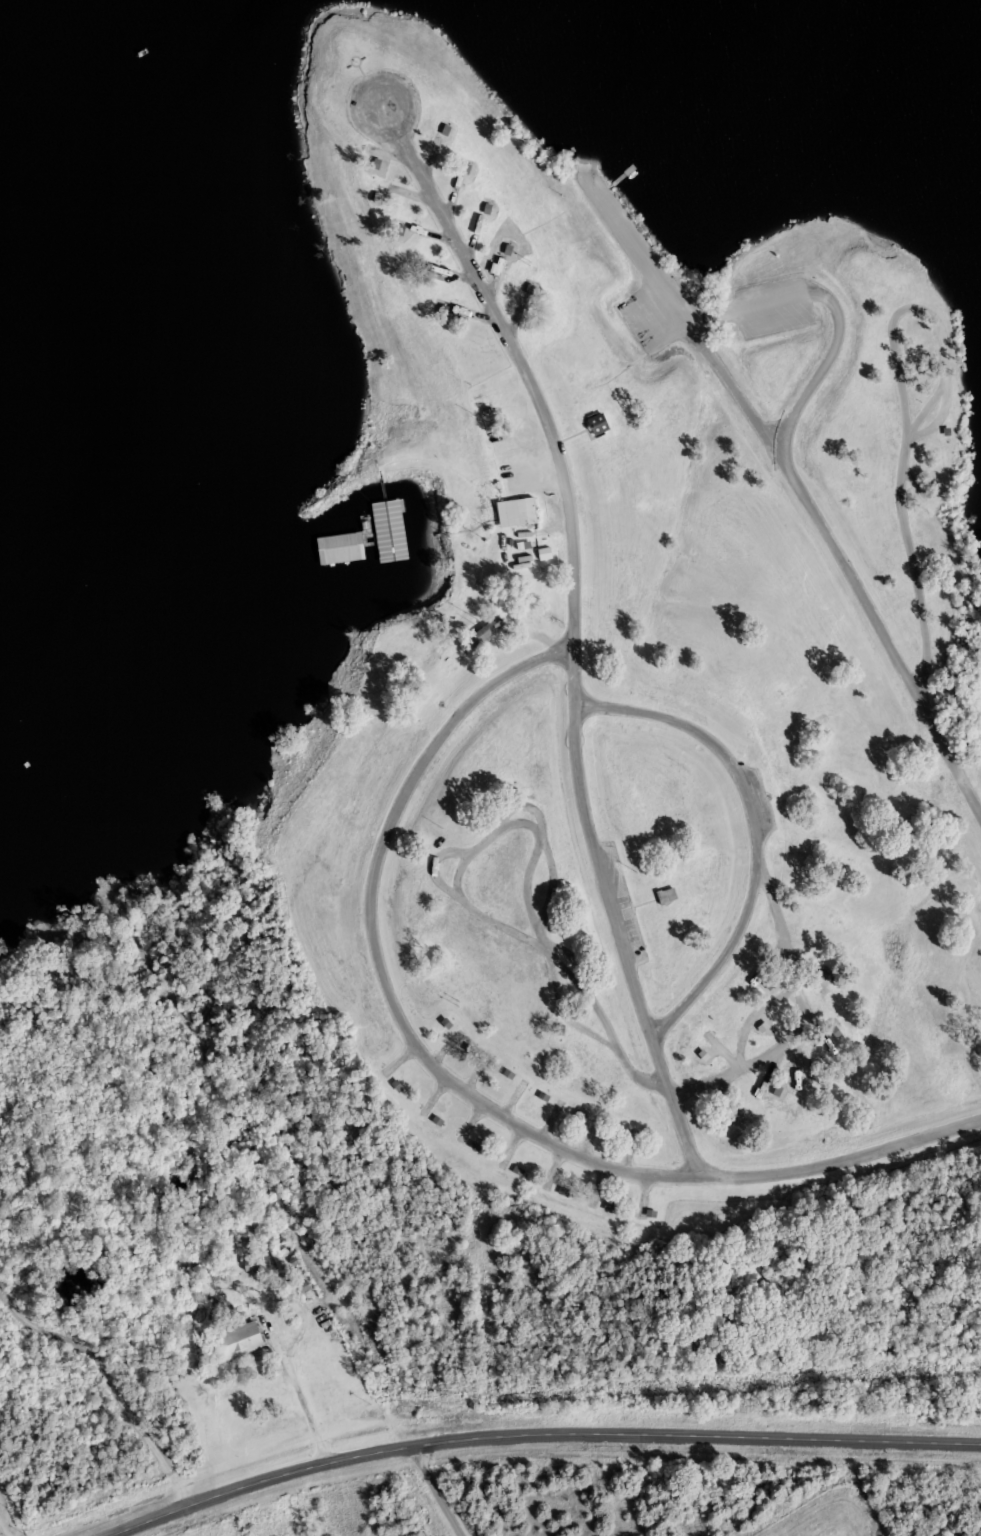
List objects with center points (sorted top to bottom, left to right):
building: (373, 165)
road: (833, 311)
road: (894, 357)
building: (595, 425)
road: (792, 483)
building: (520, 510)
building: (394, 529)
building: (343, 542)
building: (524, 545)
building: (545, 554)
building: (392, 556)
road: (910, 566)
road: (572, 631)
building: (478, 634)
park: (482, 800)
road: (754, 847)
building: (664, 895)
road: (718, 963)
road: (738, 1052)
road: (453, 1086)
building: (252, 1264)
building: (236, 1341)
road: (552, 1448)
road: (434, 1495)

